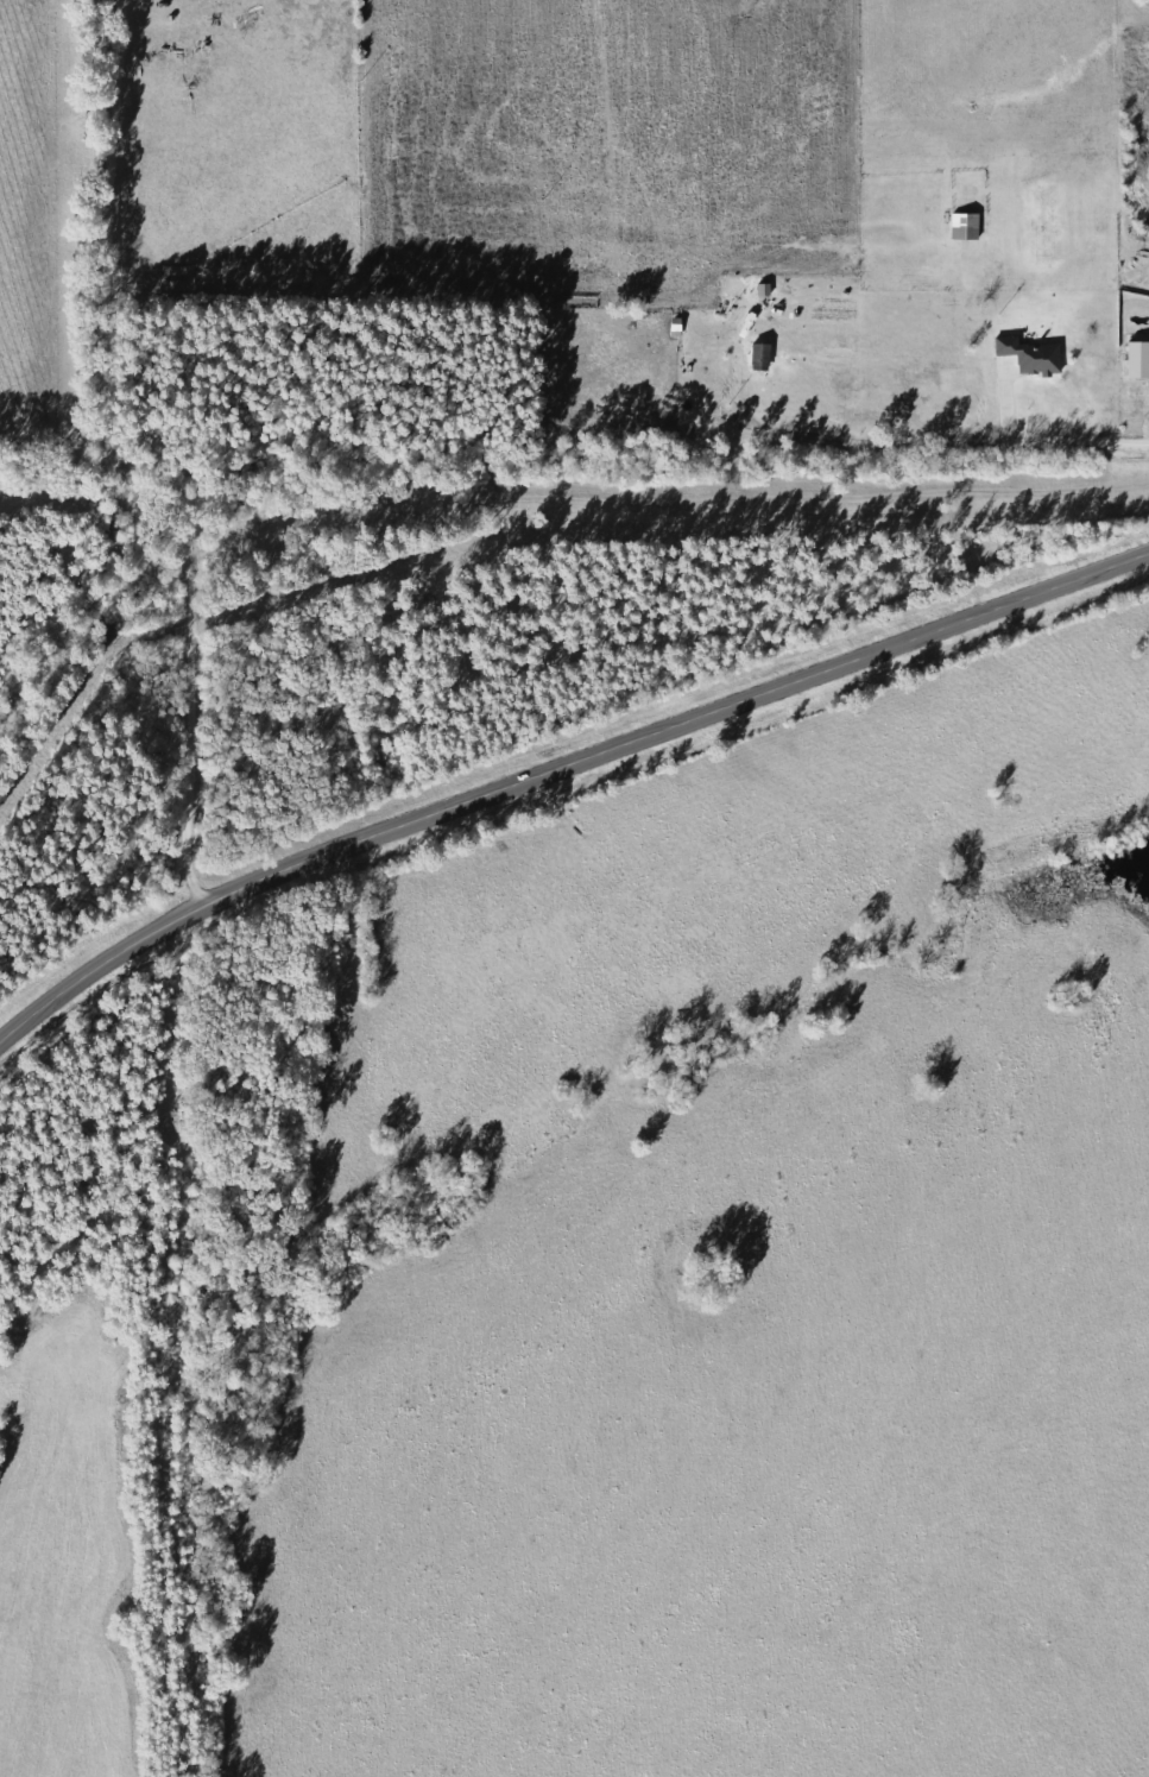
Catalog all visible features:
building: (970, 226)
building: (768, 289)
building: (765, 357)
building: (1034, 357)
building: (1141, 360)
road: (560, 767)

